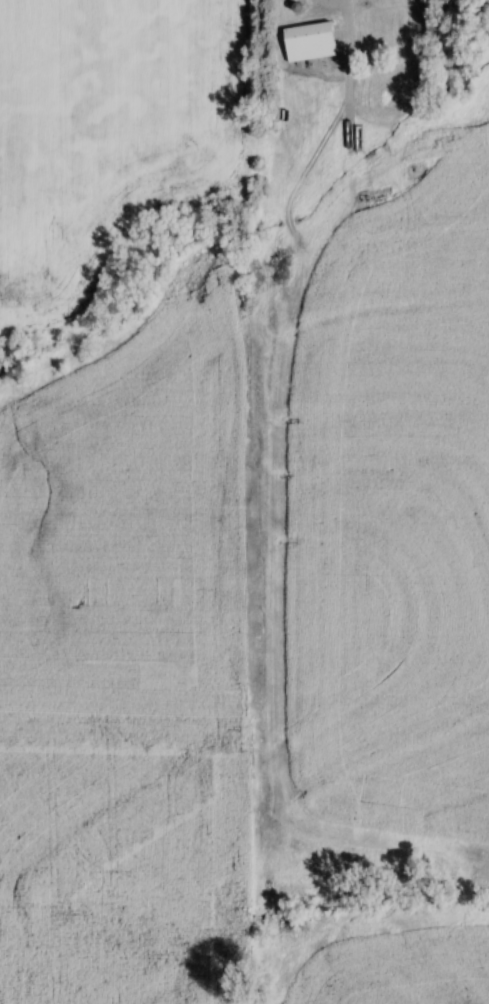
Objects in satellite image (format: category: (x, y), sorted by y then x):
building: (308, 41)

